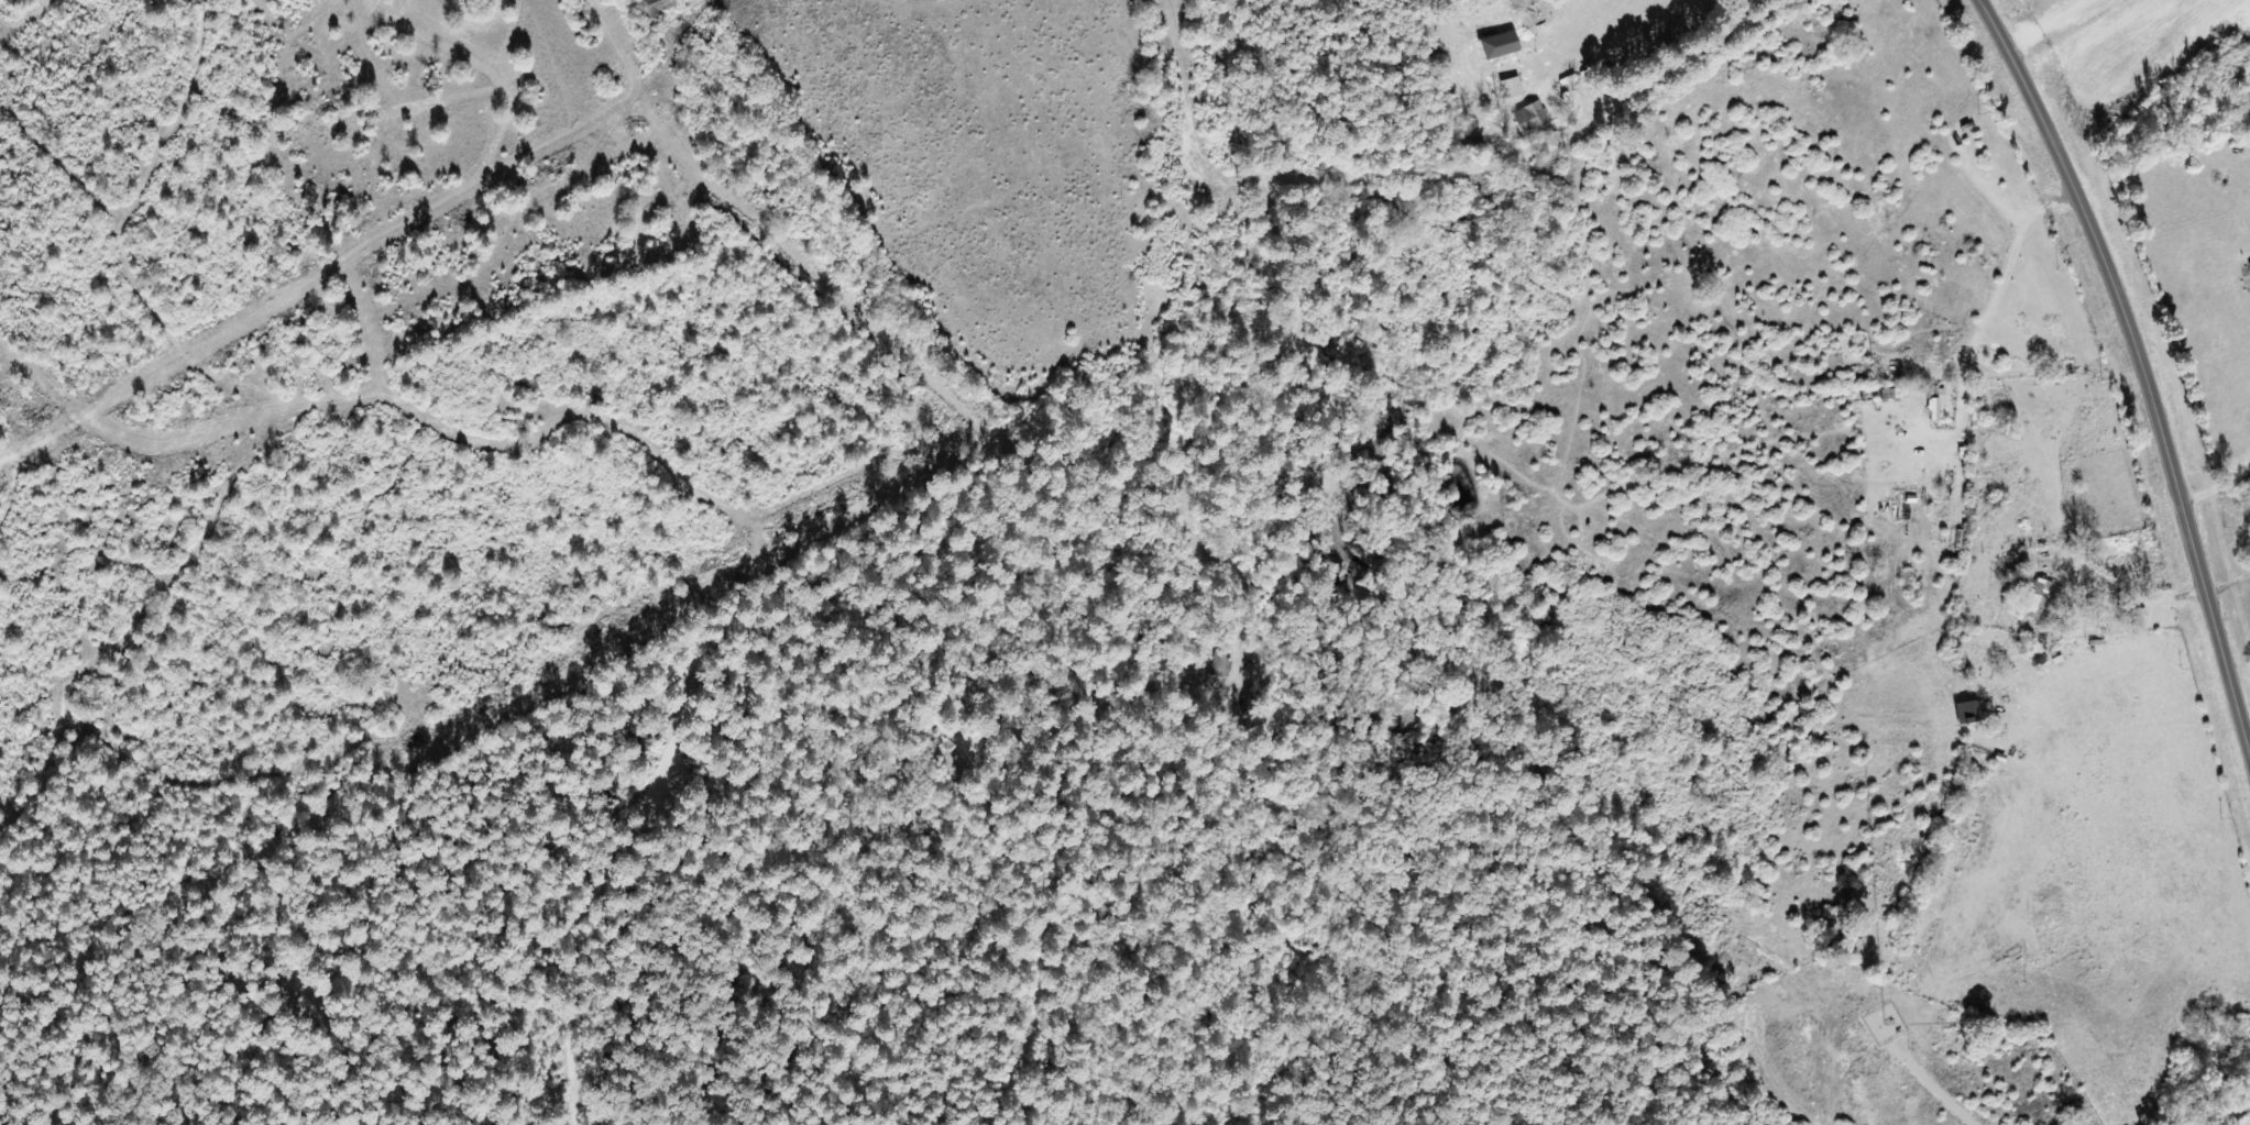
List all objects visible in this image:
building: (658, 7)
building: (1513, 88)
building: (1530, 119)
road: (2141, 368)
building: (1934, 409)
road: (1200, 459)
building: (2038, 597)
road: (2227, 1110)

